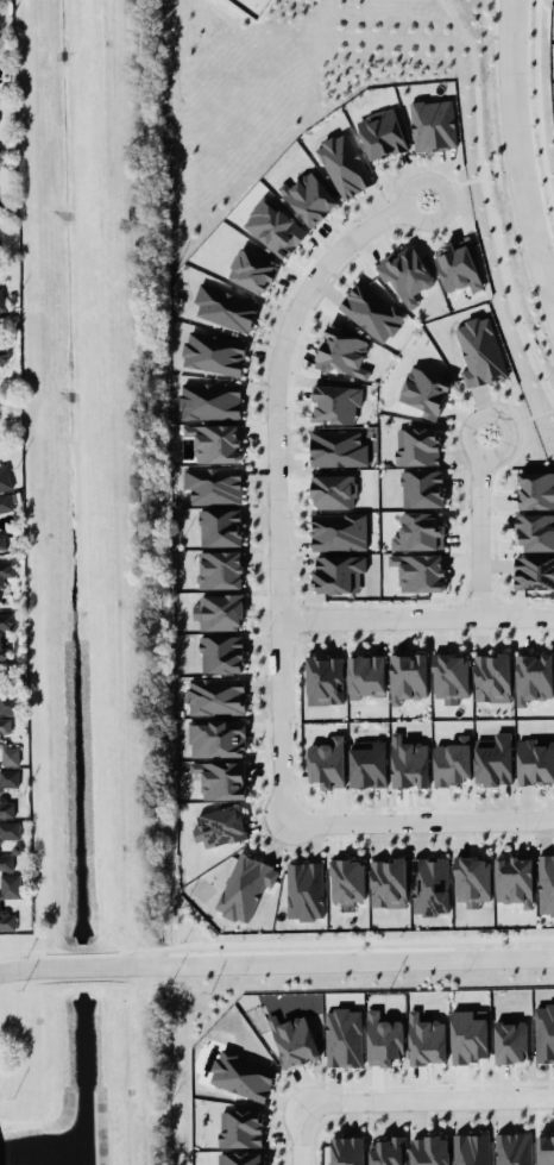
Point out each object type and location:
road: (535, 111)
building: (432, 126)
building: (382, 133)
road: (518, 154)
building: (345, 165)
building: (309, 199)
road: (485, 205)
building: (273, 220)
building: (252, 263)
building: (457, 269)
building: (407, 277)
building: (2, 299)
building: (225, 307)
building: (372, 312)
building: (213, 347)
building: (2, 351)
building: (342, 351)
building: (480, 353)
building: (424, 393)
building: (210, 400)
building: (335, 402)
building: (215, 441)
building: (334, 445)
building: (417, 449)
road: (276, 474)
building: (5, 477)
building: (214, 483)
building: (536, 484)
building: (330, 486)
building: (422, 487)
building: (5, 502)
road: (479, 520)
building: (219, 524)
building: (534, 526)
building: (416, 527)
building: (336, 528)
building: (1, 540)
building: (219, 564)
building: (421, 568)
building: (5, 570)
building: (534, 570)
building: (338, 572)
building: (218, 607)
road: (416, 614)
building: (1, 634)
building: (221, 653)
building: (451, 671)
building: (366, 672)
building: (408, 676)
building: (492, 676)
building: (533, 677)
building: (325, 679)
building: (215, 691)
building: (8, 701)
building: (216, 737)
building: (2, 739)
building: (535, 756)
building: (495, 757)
building: (367, 760)
building: (327, 762)
building: (408, 762)
building: (452, 762)
building: (219, 771)
building: (8, 777)
building: (6, 807)
road: (417, 816)
building: (215, 821)
building: (10, 829)
building: (6, 860)
building: (346, 876)
building: (472, 876)
building: (547, 878)
building: (389, 879)
building: (514, 879)
building: (430, 881)
building: (246, 884)
building: (10, 885)
building: (304, 889)
building: (7, 919)
road: (276, 944)
road: (276, 957)
building: (543, 1032)
building: (468, 1034)
building: (383, 1035)
building: (342, 1036)
building: (294, 1039)
building: (427, 1039)
building: (510, 1039)
building: (241, 1075)
road: (426, 1095)
building: (239, 1123)
road: (297, 1132)
building: (344, 1147)
building: (511, 1147)
building: (471, 1148)
building: (544, 1148)
building: (429, 1150)
building: (388, 1151)
building: (240, 1158)

